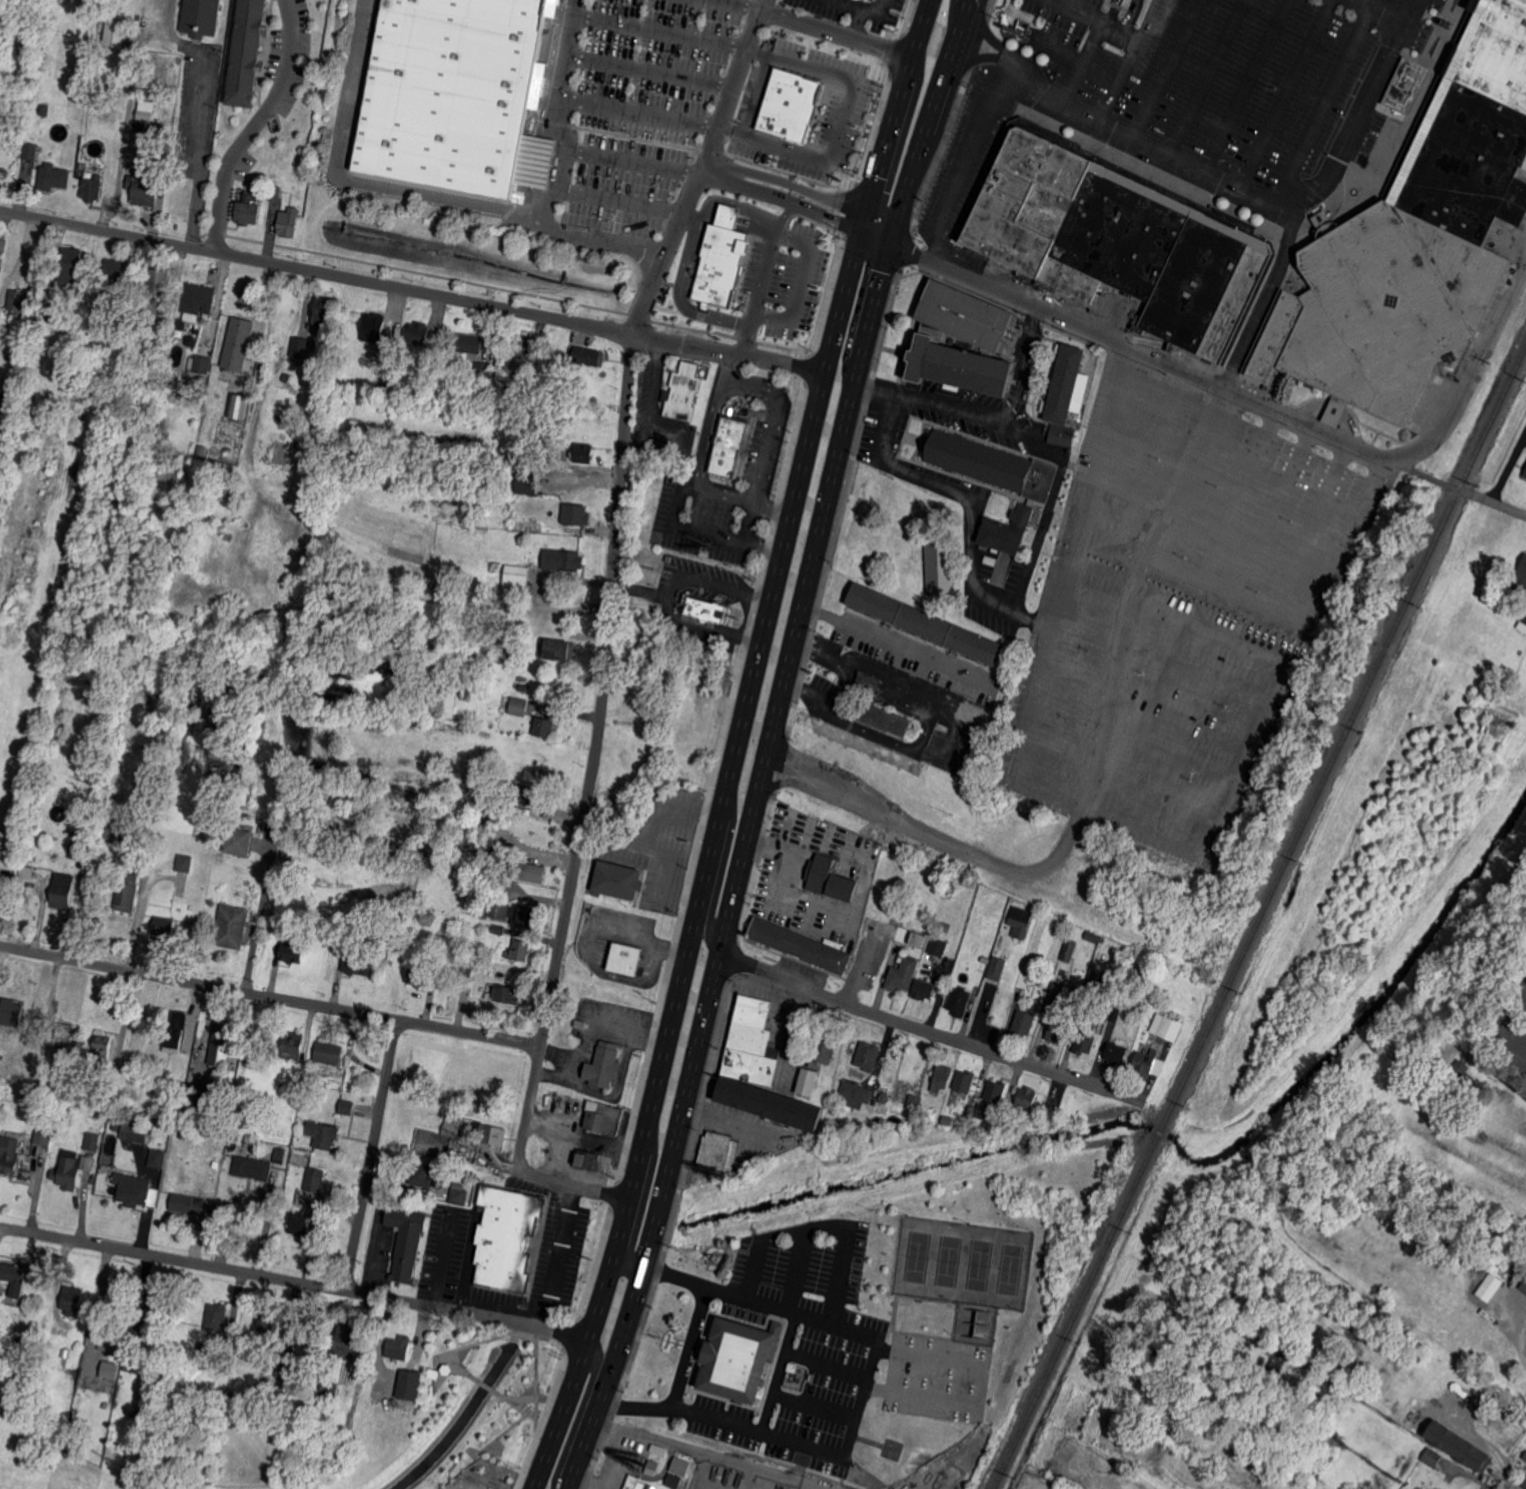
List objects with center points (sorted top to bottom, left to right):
road: (738, 4)
road: (761, 4)
road: (866, 9)
road: (1384, 10)
building: (200, 18)
road: (1131, 18)
road: (1092, 21)
road: (857, 23)
building: (1449, 25)
building: (1018, 27)
road: (660, 31)
building: (114, 35)
road: (1059, 49)
building: (245, 52)
road: (988, 58)
road: (1129, 60)
road: (1082, 64)
road: (1167, 69)
road: (649, 70)
road: (1207, 78)
building: (1406, 85)
road: (1245, 86)
road: (1283, 94)
building: (455, 96)
road: (727, 99)
road: (1323, 103)
building: (98, 104)
building: (790, 105)
building: (146, 110)
road: (638, 110)
building: (43, 111)
road: (841, 122)
road: (252, 124)
road: (923, 142)
road: (193, 150)
building: (31, 151)
road: (961, 158)
road: (632, 162)
building: (1524, 165)
road: (558, 175)
road: (874, 175)
building: (53, 177)
road: (351, 180)
building: (92, 188)
road: (803, 188)
building: (143, 191)
building: (274, 195)
road: (1257, 198)
road: (781, 199)
road: (620, 202)
building: (248, 209)
traffic signals: (864, 212)
road: (779, 214)
building: (287, 224)
traffic signals: (897, 226)
traffic signals: (860, 232)
building: (1118, 238)
building: (1415, 238)
traffic signals: (891, 245)
building: (720, 258)
building: (70, 265)
building: (113, 271)
road: (797, 279)
building: (157, 281)
road: (410, 290)
road: (757, 291)
road: (674, 295)
road: (1264, 297)
building: (197, 300)
building: (17, 304)
building: (324, 311)
building: (161, 312)
building: (33, 322)
building: (180, 325)
building: (373, 327)
building: (196, 331)
building: (421, 334)
building: (989, 336)
building: (469, 343)
building: (237, 344)
building: (522, 346)
building: (18, 348)
building: (300, 351)
building: (586, 356)
road: (723, 360)
building: (550, 363)
road: (1020, 363)
building: (202, 364)
building: (251, 366)
building: (1022, 368)
building: (386, 369)
road: (1470, 369)
building: (526, 371)
building: (483, 372)
road: (1193, 373)
building: (284, 378)
building: (518, 382)
road: (874, 382)
building: (1065, 385)
building: (185, 387)
building: (1020, 392)
building: (681, 393)
building: (245, 398)
building: (285, 399)
building: (3, 402)
road: (950, 404)
building: (33, 412)
railway: (1493, 413)
building: (9, 415)
road: (706, 426)
building: (1062, 434)
road: (1028, 435)
building: (275, 445)
building: (728, 445)
building: (581, 453)
building: (1, 457)
building: (540, 462)
building: (993, 465)
building: (165, 472)
building: (1525, 474)
road: (582, 479)
building: (527, 483)
railway: (1458, 488)
road: (742, 495)
road: (1237, 495)
road: (771, 502)
road: (1272, 509)
building: (574, 515)
building: (513, 523)
road: (1309, 526)
building: (549, 528)
road: (704, 528)
building: (1007, 531)
road: (969, 538)
building: (563, 560)
building: (938, 566)
building: (495, 567)
building: (515, 577)
building: (1519, 583)
building: (297, 587)
building: (707, 610)
parking lot: (1182, 614)
building: (927, 620)
road: (1308, 623)
building: (1522, 623)
road: (893, 642)
building: (557, 649)
building: (497, 653)
building: (508, 655)
building: (514, 706)
building: (877, 708)
building: (545, 726)
road: (728, 766)
road: (594, 767)
road: (1095, 773)
building: (529, 795)
building: (85, 825)
building: (259, 827)
building: (114, 828)
building: (77, 833)
building: (239, 841)
building: (78, 850)
building: (1, 852)
building: (185, 863)
building: (530, 871)
building: (830, 879)
building: (621, 881)
building: (42, 888)
building: (62, 889)
road: (733, 891)
building: (127, 892)
building: (514, 913)
building: (1021, 921)
building: (945, 925)
building: (232, 927)
building: (162, 929)
building: (499, 929)
building: (941, 934)
building: (1091, 936)
building: (918, 939)
building: (800, 945)
building: (939, 947)
building: (522, 950)
building: (1069, 950)
building: (292, 953)
building: (626, 959)
building: (357, 964)
building: (996, 967)
building: (468, 968)
building: (903, 974)
building: (418, 976)
building: (1022, 981)
railway: (1226, 990)
building: (924, 991)
building: (1056, 991)
building: (506, 995)
road: (270, 996)
building: (1088, 996)
building: (960, 1001)
building: (1114, 1014)
building: (4, 1015)
building: (1024, 1022)
building: (1170, 1028)
building: (1058, 1029)
road: (931, 1031)
building: (176, 1032)
building: (65, 1034)
building: (1086, 1040)
building: (1150, 1041)
building: (827, 1043)
building: (223, 1045)
building: (293, 1045)
building: (103, 1049)
building: (330, 1053)
building: (1116, 1054)
building: (1442, 1055)
building: (868, 1056)
building: (1145, 1063)
building: (605, 1065)
building: (760, 1070)
building: (1457, 1076)
building: (942, 1079)
building: (808, 1081)
building: (965, 1081)
road: (1507, 1082)
building: (166, 1084)
building: (995, 1091)
building: (856, 1094)
building: (884, 1097)
building: (1027, 1097)
building: (198, 1098)
building: (107, 1099)
building: (915, 1103)
building: (305, 1104)
building: (1048, 1105)
building: (347, 1107)
building: (971, 1112)
building: (986, 1112)
building: (604, 1117)
building: (115, 1124)
building: (451, 1124)
building: (67, 1126)
building: (135, 1130)
building: (322, 1134)
building: (492, 1134)
building: (43, 1135)
building: (183, 1135)
building: (93, 1141)
building: (454, 1143)
building: (162, 1146)
building: (720, 1152)
building: (9, 1154)
road: (370, 1154)
building: (280, 1155)
building: (156, 1159)
building: (590, 1160)
building: (251, 1168)
building: (70, 1170)
building: (425, 1175)
building: (315, 1180)
road: (585, 1188)
building: (133, 1191)
road: (251, 1191)
building: (459, 1196)
building: (189, 1203)
building: (300, 1224)
building: (507, 1237)
building: (406, 1241)
road: (556, 1255)
park: (917, 1256)
park: (947, 1261)
park: (979, 1264)
park: (1009, 1268)
building: (13, 1273)
road: (293, 1283)
building: (1487, 1285)
building: (1523, 1285)
road: (602, 1289)
building: (73, 1300)
building: (157, 1306)
building: (217, 1316)
building: (271, 1323)
building: (137, 1332)
building: (60, 1333)
building: (109, 1341)
building: (346, 1341)
building: (398, 1348)
building: (20, 1350)
building: (206, 1352)
building: (111, 1356)
building: (739, 1358)
road: (986, 1366)
building: (792, 1368)
building: (108, 1369)
building: (285, 1371)
building: (335, 1373)
building: (409, 1384)
building: (263, 1387)
building: (329, 1391)
road: (578, 1414)
road: (549, 1442)
road: (708, 1454)
building: (654, 1457)
building: (1432, 1457)
building: (1472, 1457)
road: (801, 1462)
building: (679, 1465)
building: (1525, 1475)
building: (671, 1479)
road: (1507, 1480)
building: (632, 1481)
building: (1524, 1484)
building: (1219, 1486)
building: (1310, 1488)
building: (1313, 1488)

